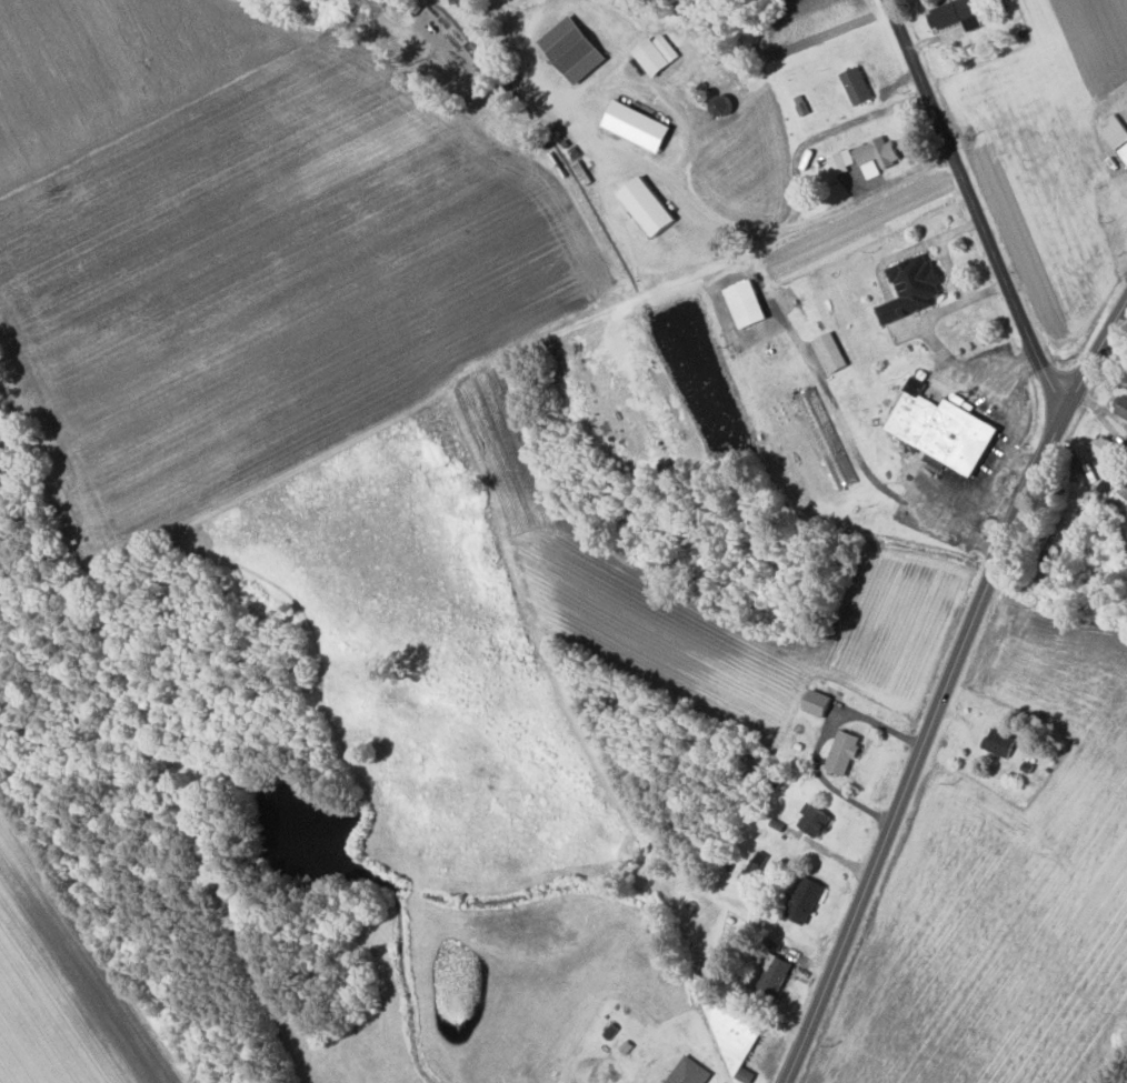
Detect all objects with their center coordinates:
building: (955, 14)
building: (572, 49)
building: (656, 53)
building: (857, 84)
building: (637, 124)
road: (822, 131)
building: (1116, 133)
building: (878, 152)
building: (841, 161)
building: (647, 205)
road: (975, 212)
road: (725, 222)
road: (725, 262)
building: (911, 288)
building: (746, 303)
building: (828, 352)
road: (1093, 362)
building: (1121, 405)
building: (943, 428)
building: (1105, 449)
building: (818, 703)
building: (1000, 742)
building: (842, 752)
road: (918, 752)
building: (814, 820)
building: (804, 901)
building: (688, 1071)

